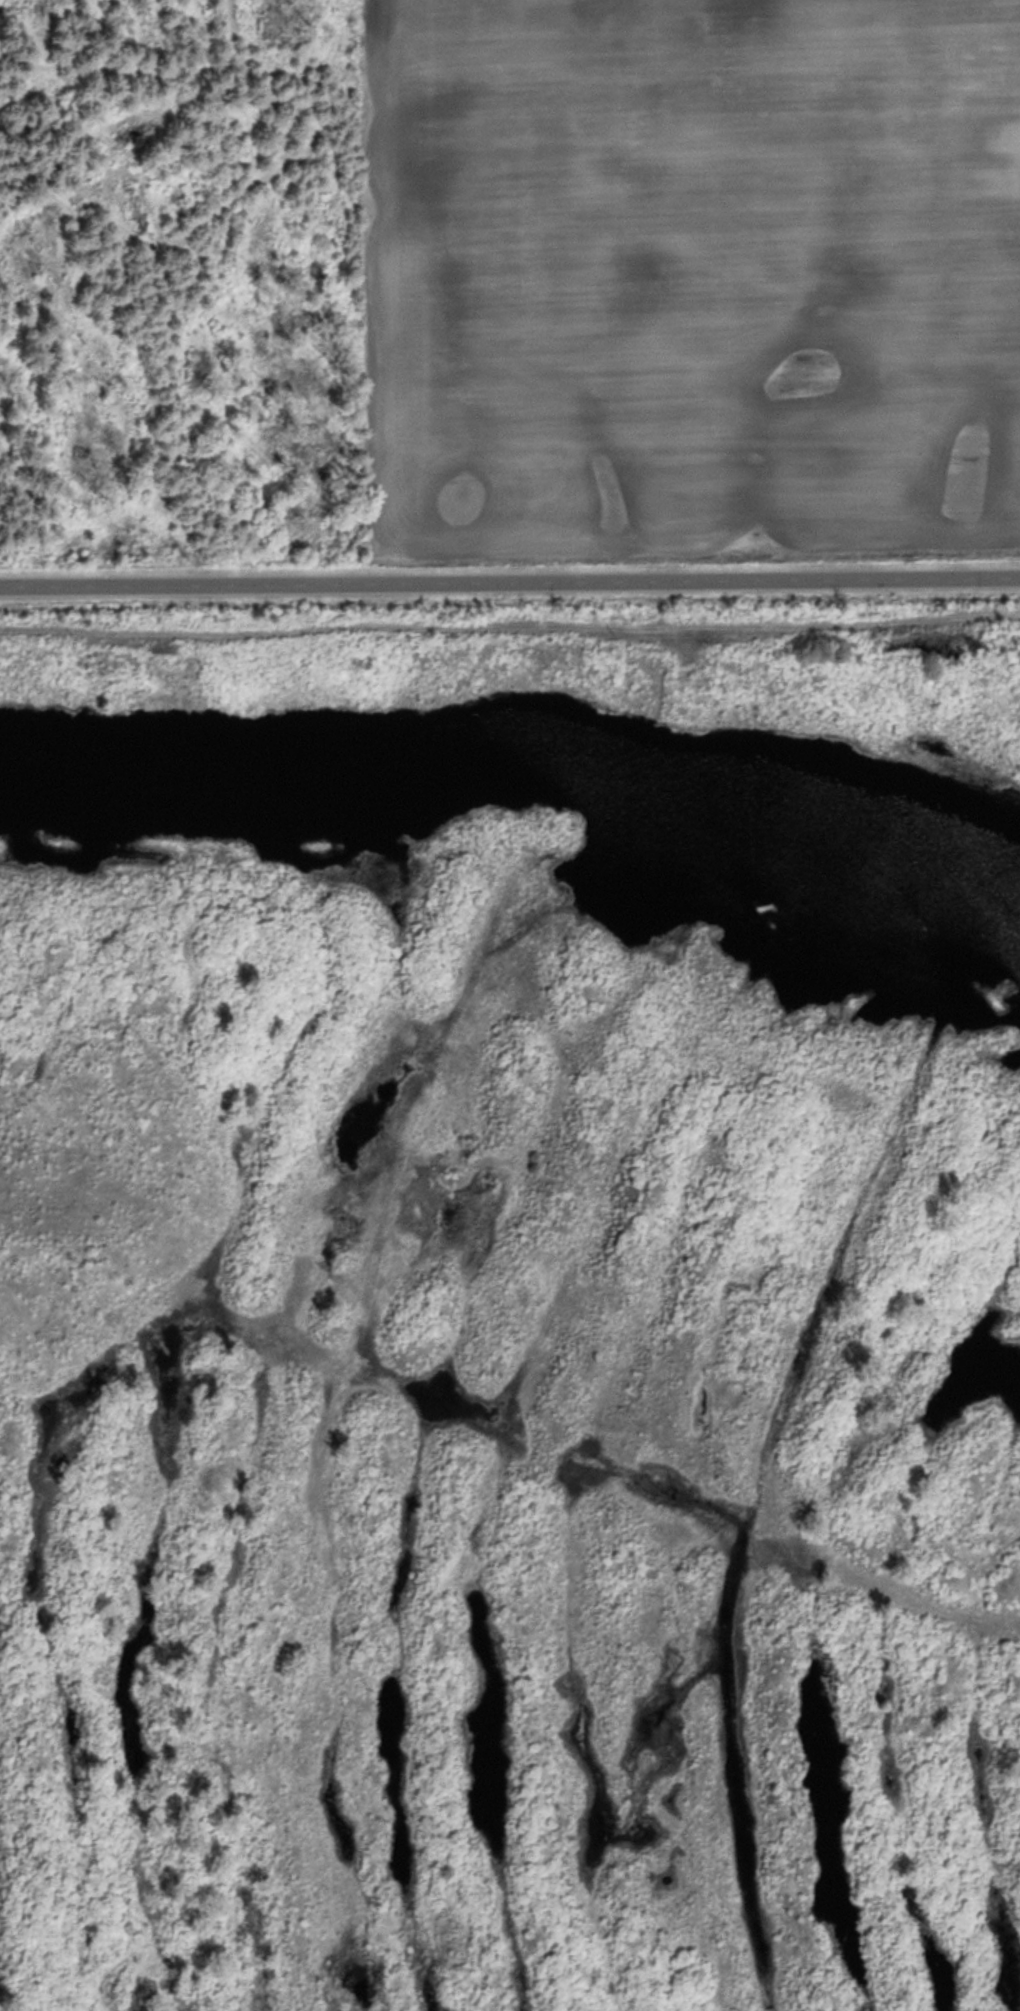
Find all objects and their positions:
building: (994, 174)
road: (510, 579)
road: (510, 626)

